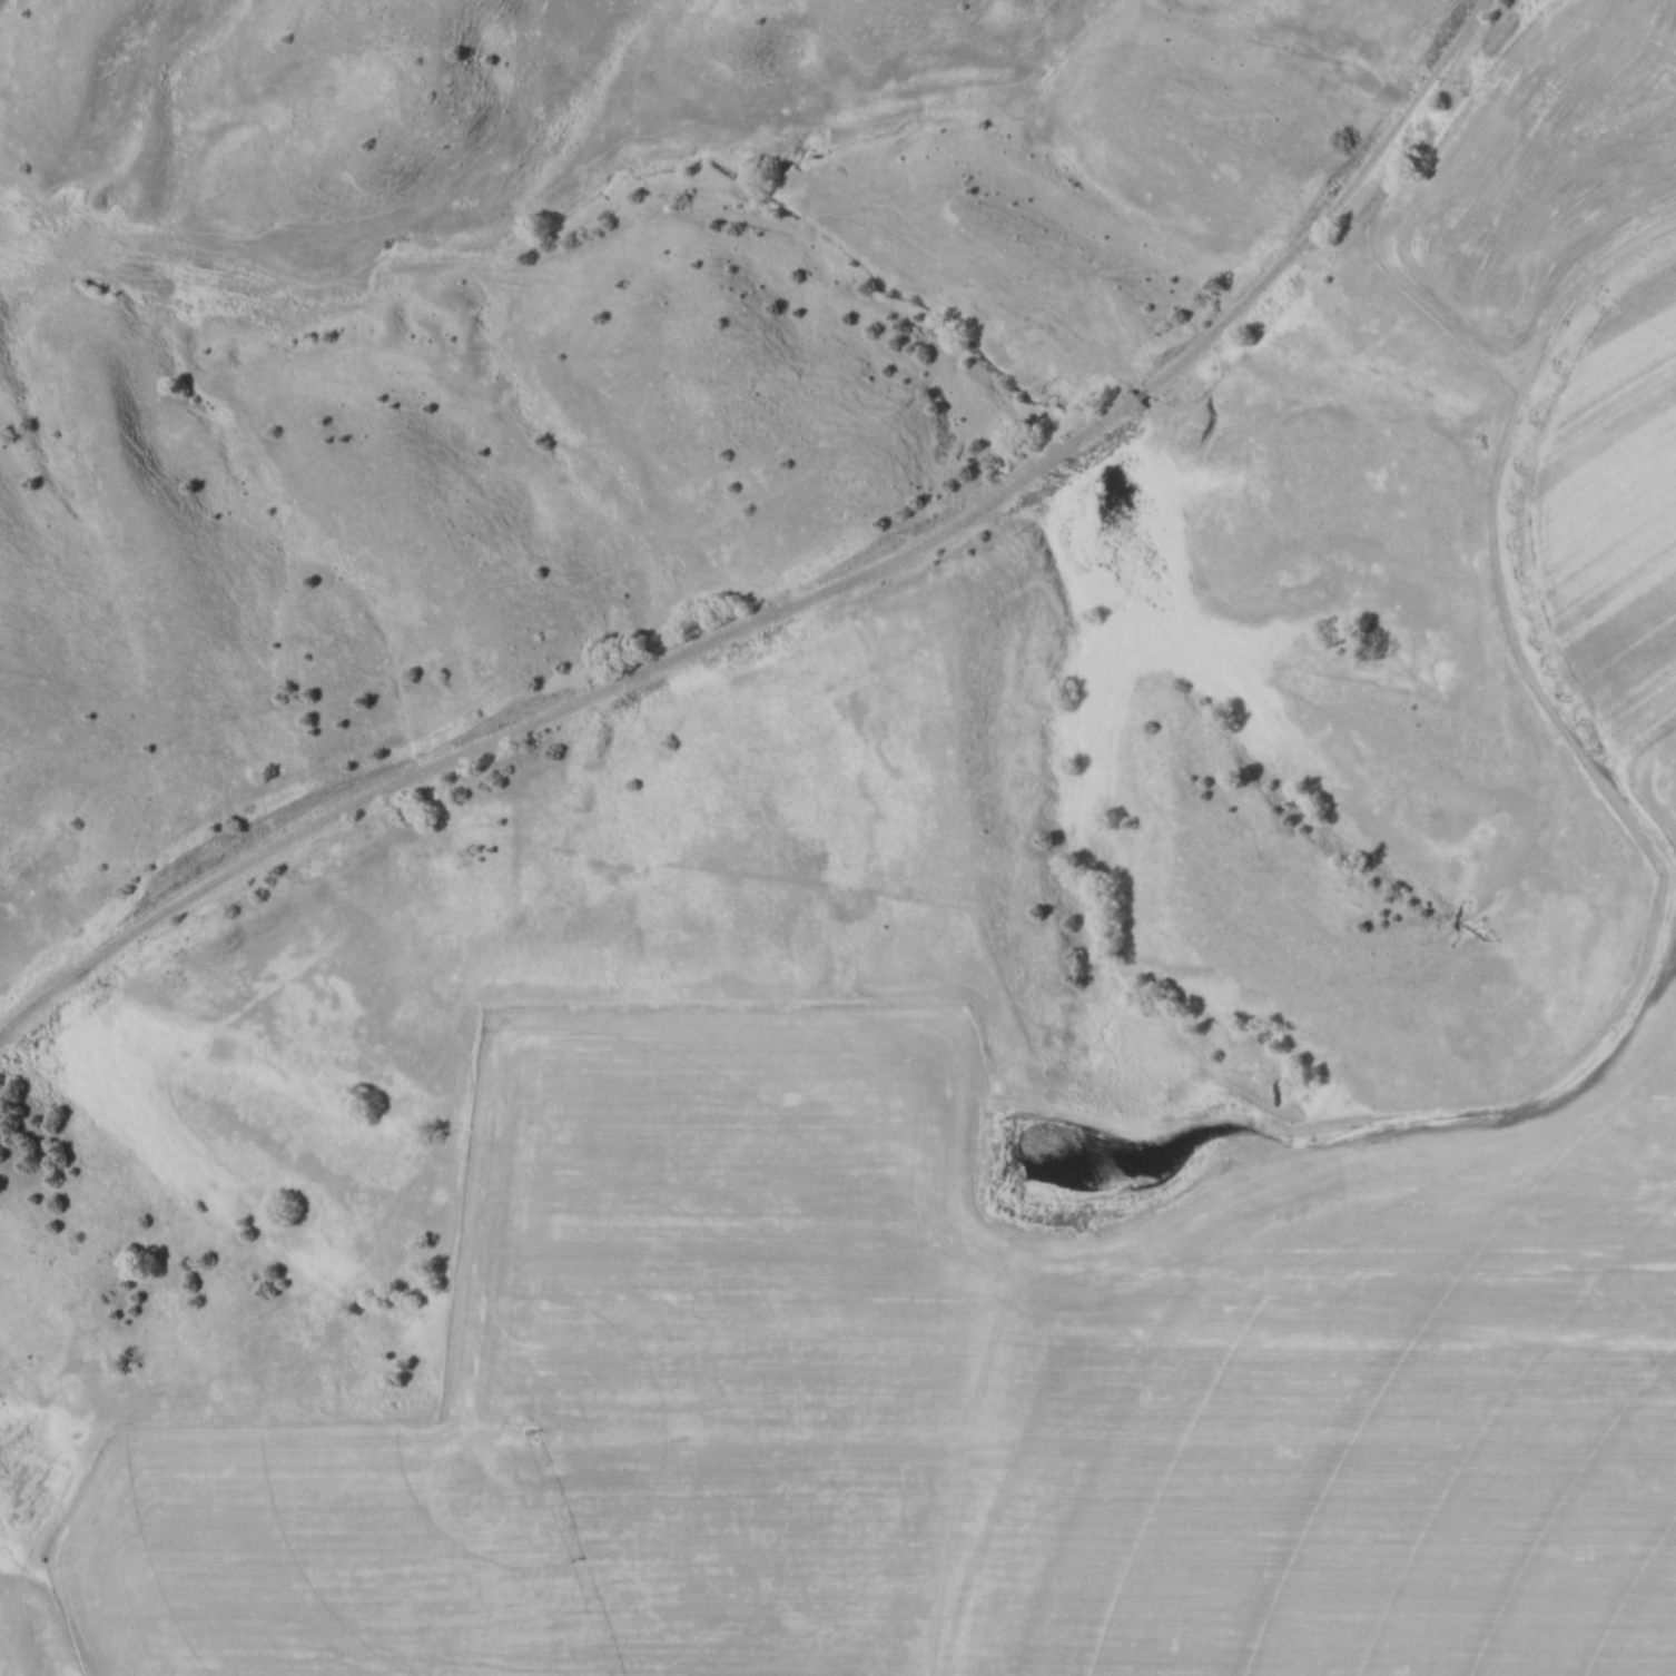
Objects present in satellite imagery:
crop: (1545, 167)
railway: (800, 602)

